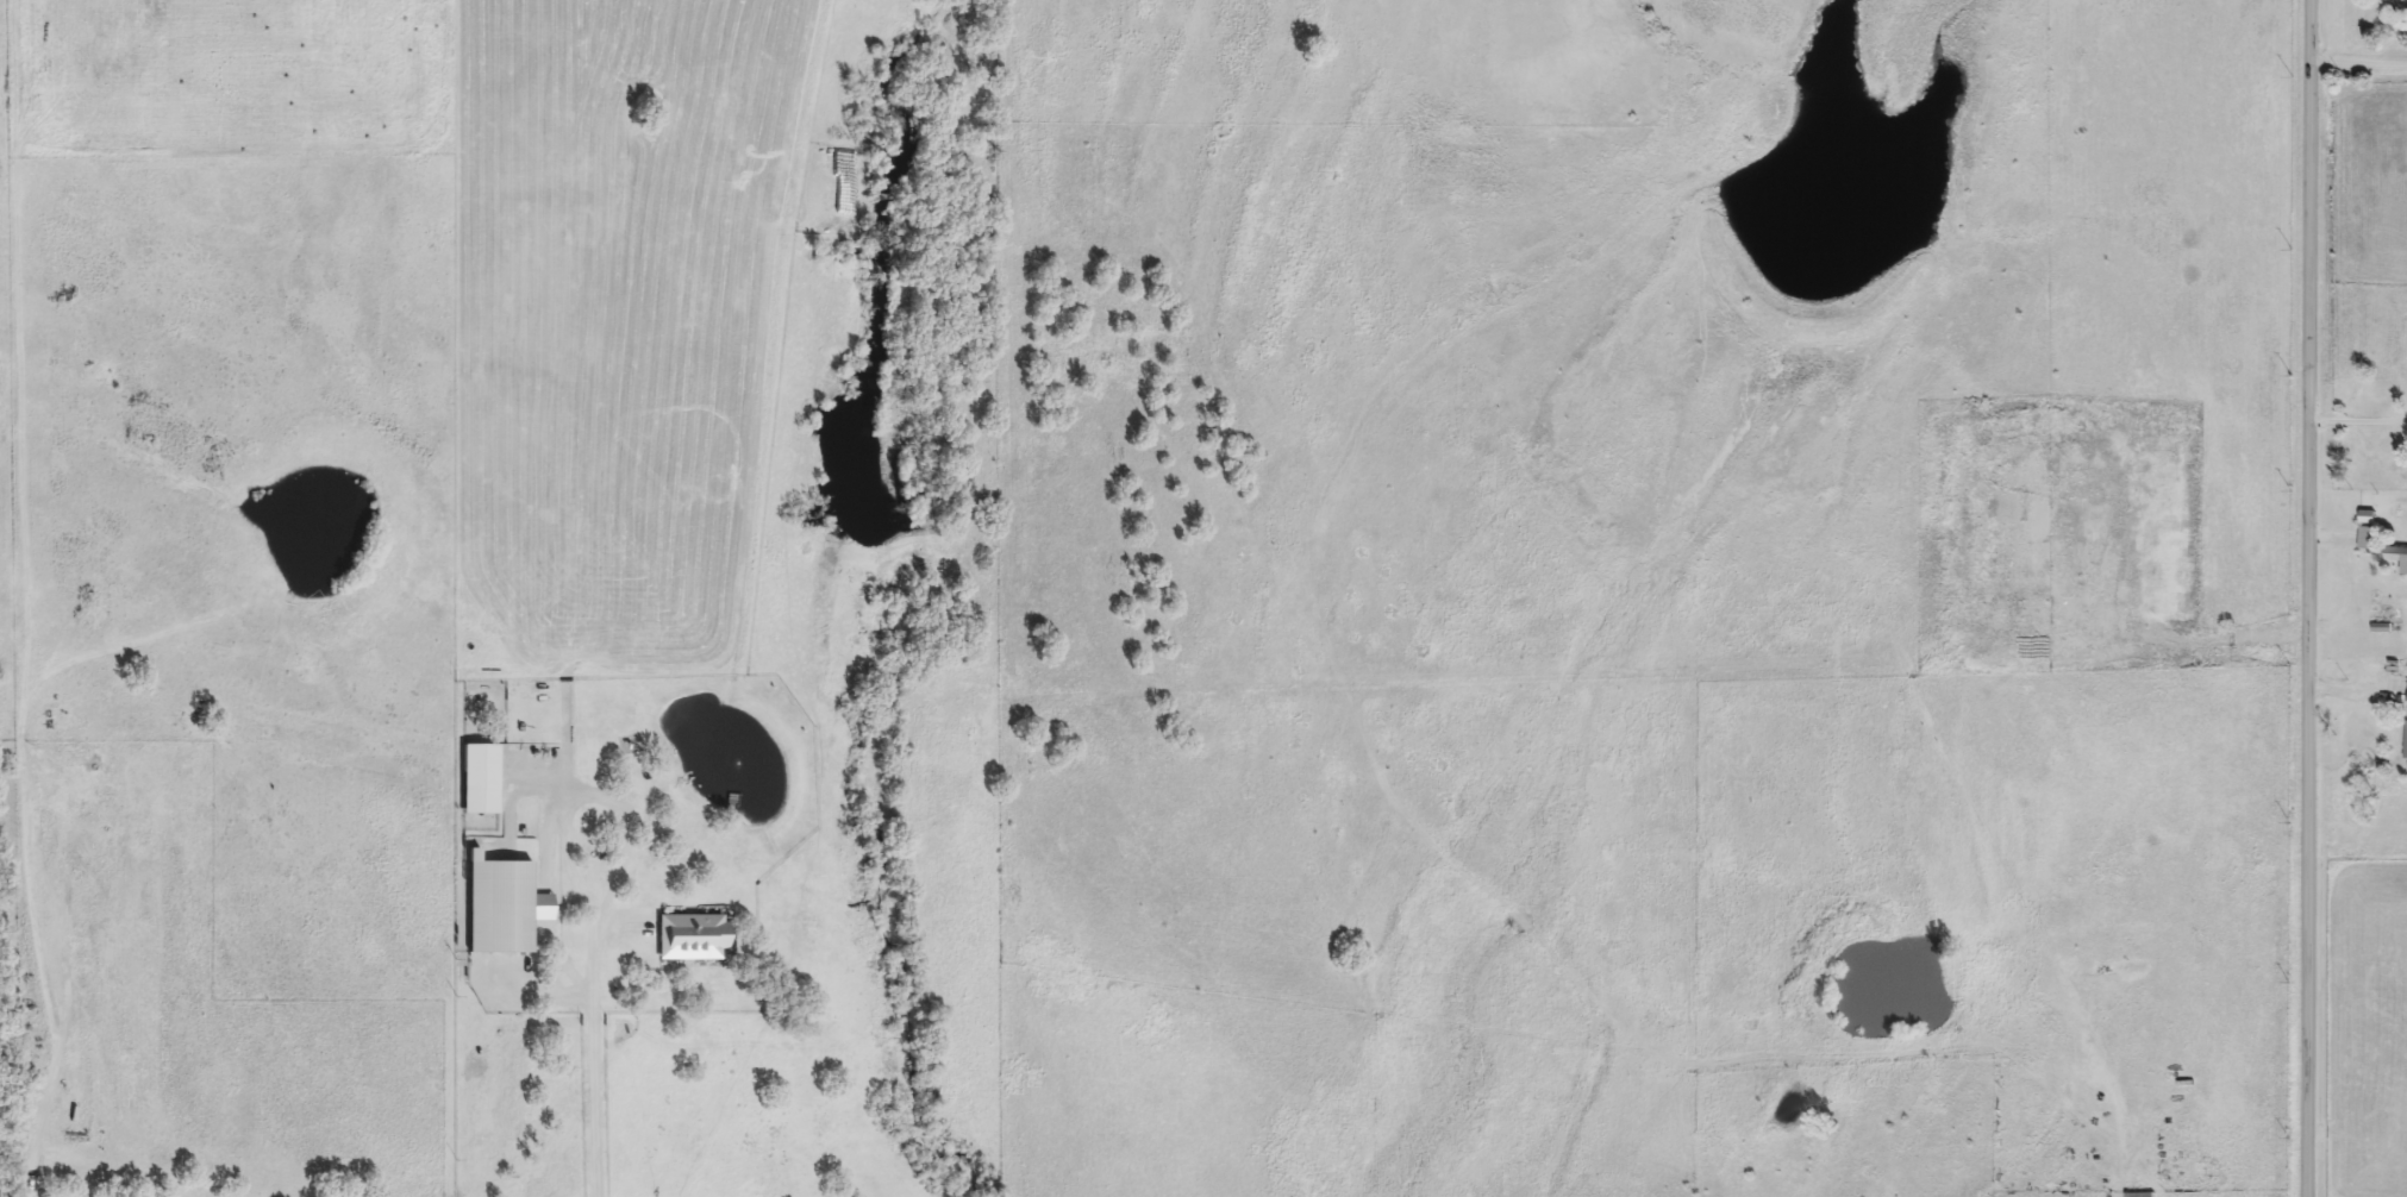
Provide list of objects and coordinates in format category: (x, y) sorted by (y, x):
road: (2359, 59)
road: (2356, 421)
building: (2367, 539)
building: (2394, 557)
road: (2308, 597)
road: (2157, 634)
building: (2406, 741)
road: (593, 792)
road: (595, 1057)
building: (2140, 1195)

